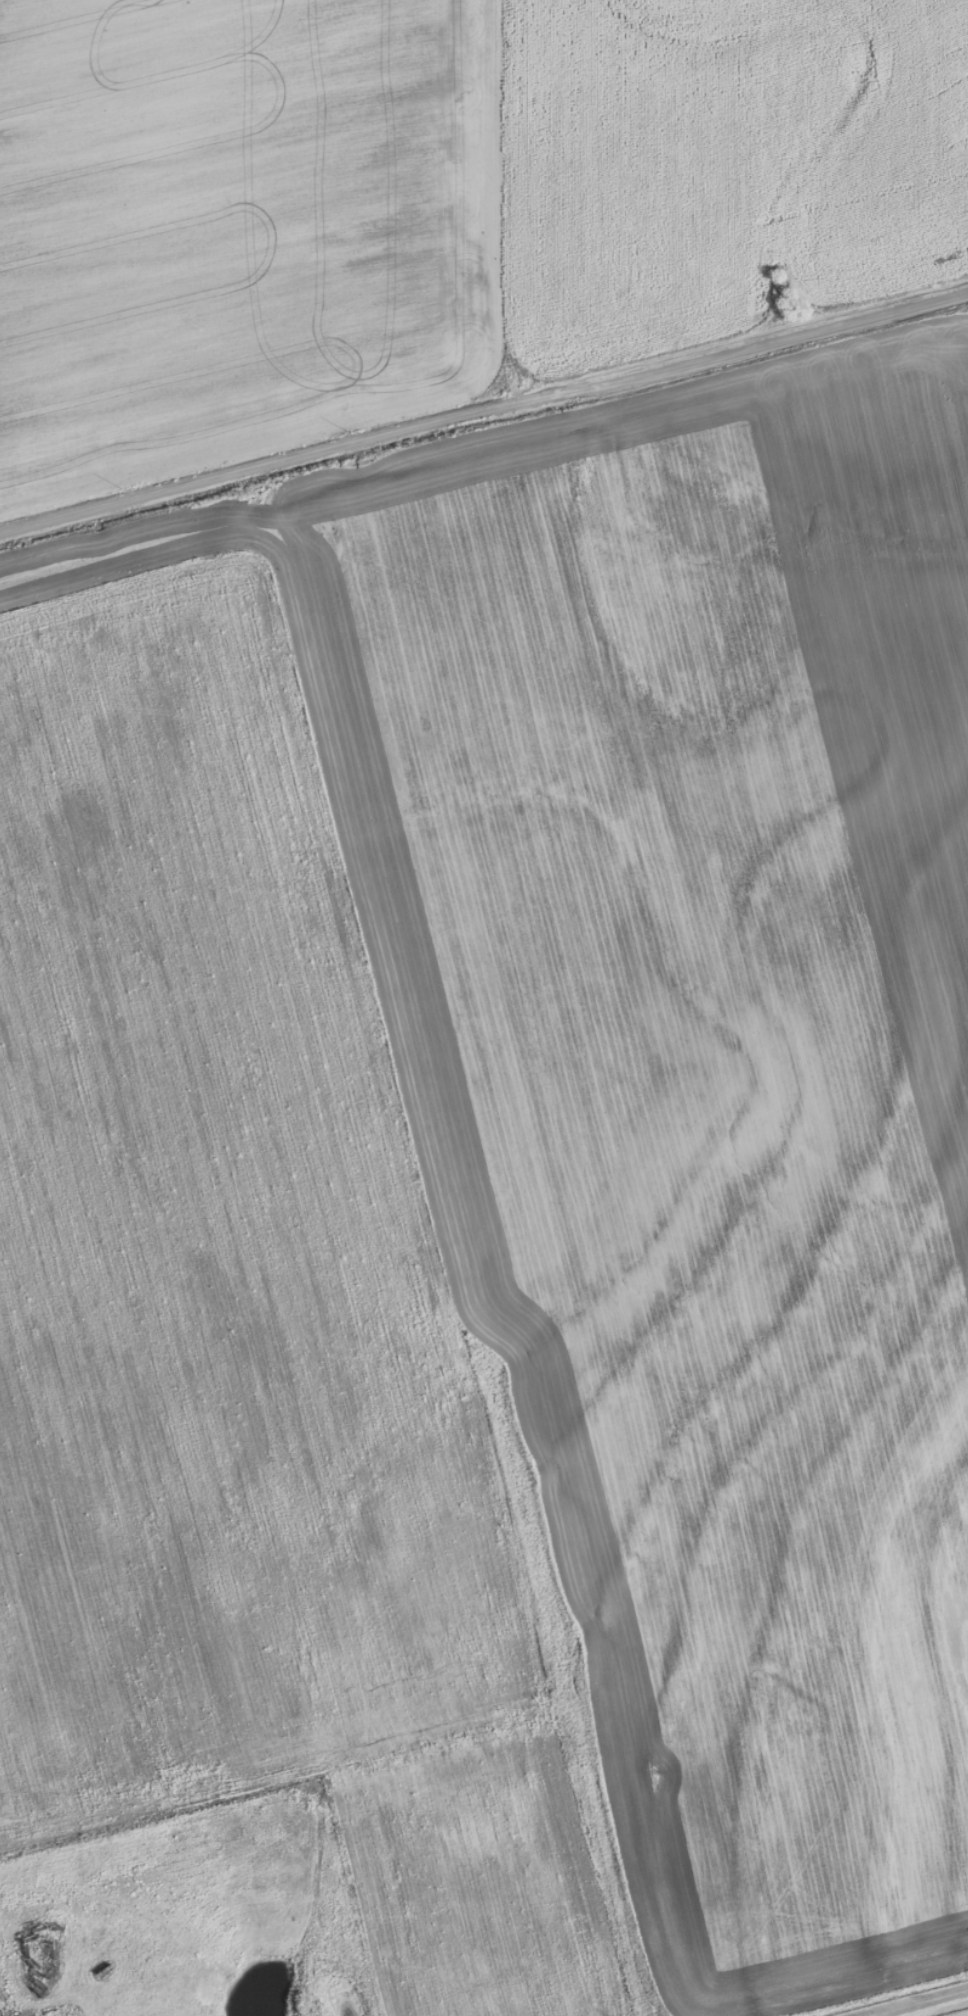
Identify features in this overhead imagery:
road: (484, 404)
road: (905, 2000)

